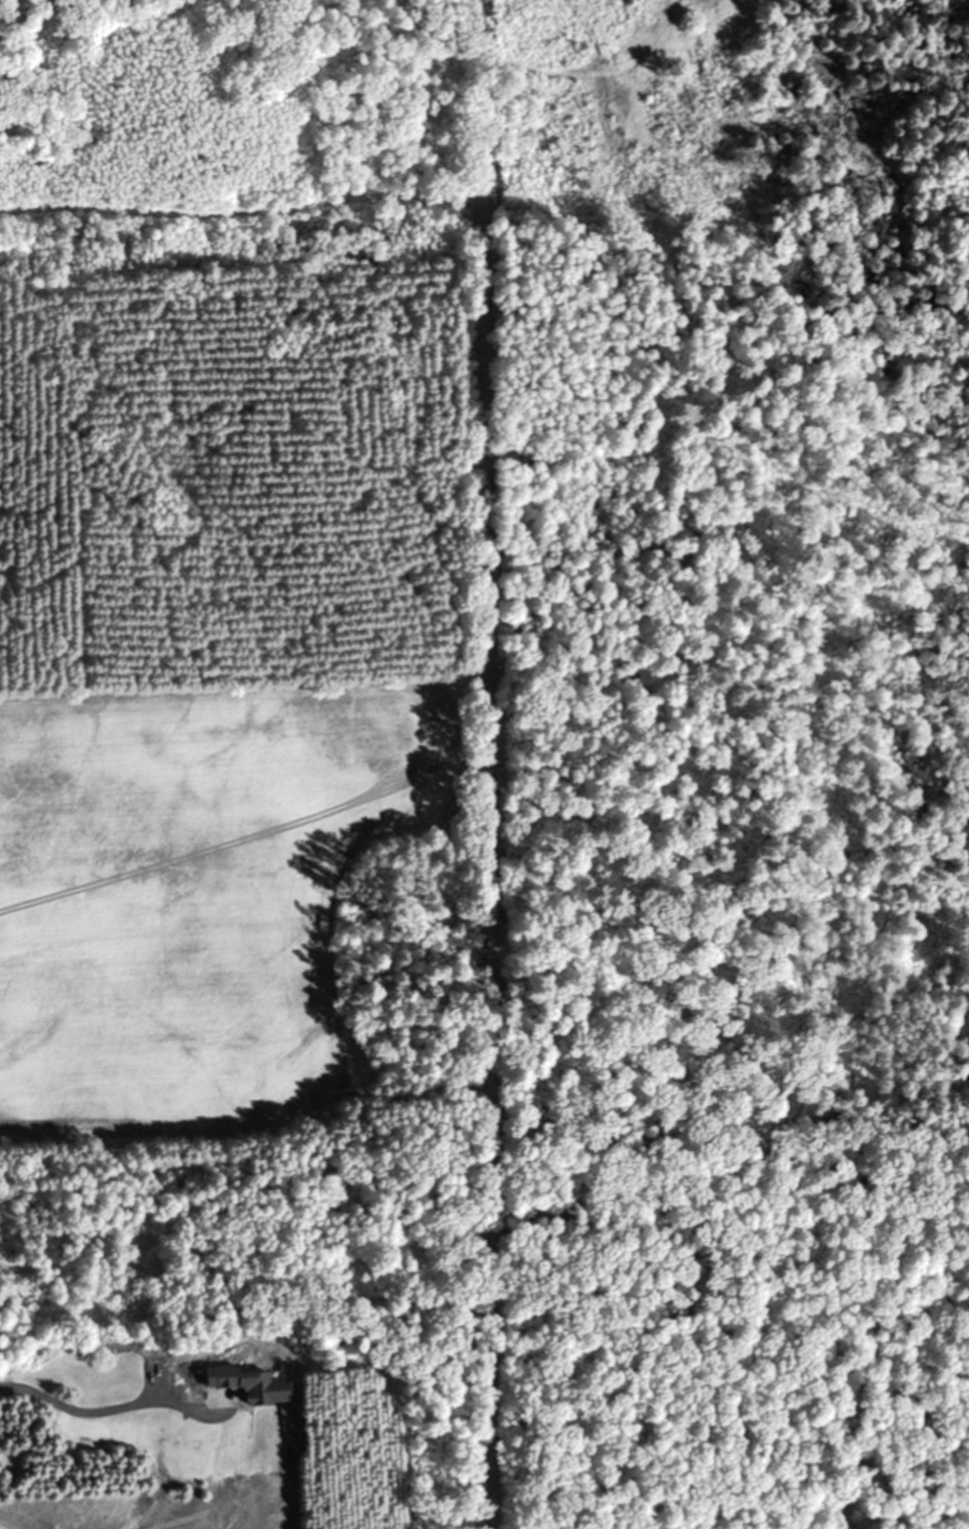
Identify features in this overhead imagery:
road: (477, 764)
building: (250, 1384)

